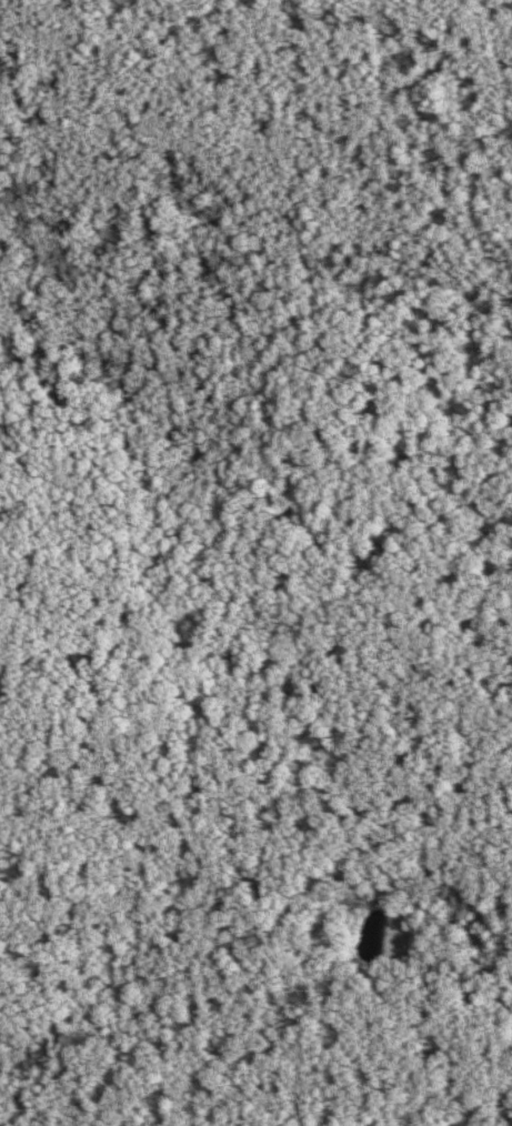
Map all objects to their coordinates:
road: (258, 882)

